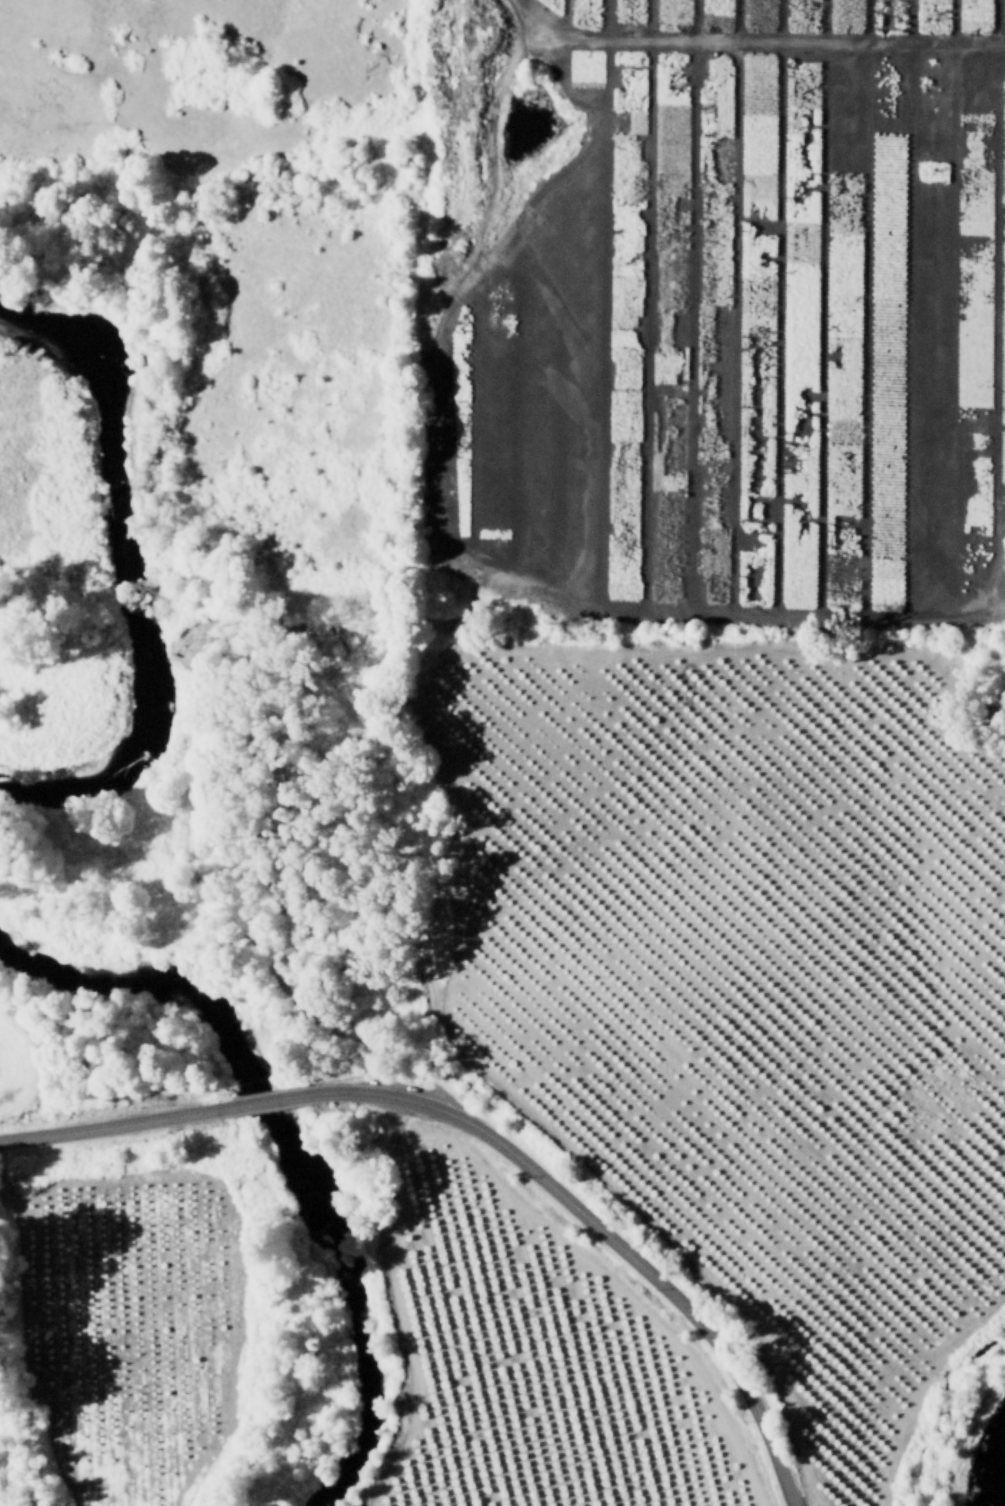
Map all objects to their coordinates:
river: (125, 566)
crop: (3, 1066)
road: (254, 1099)
road: (83, 1127)
river: (292, 1148)
road: (616, 1243)

